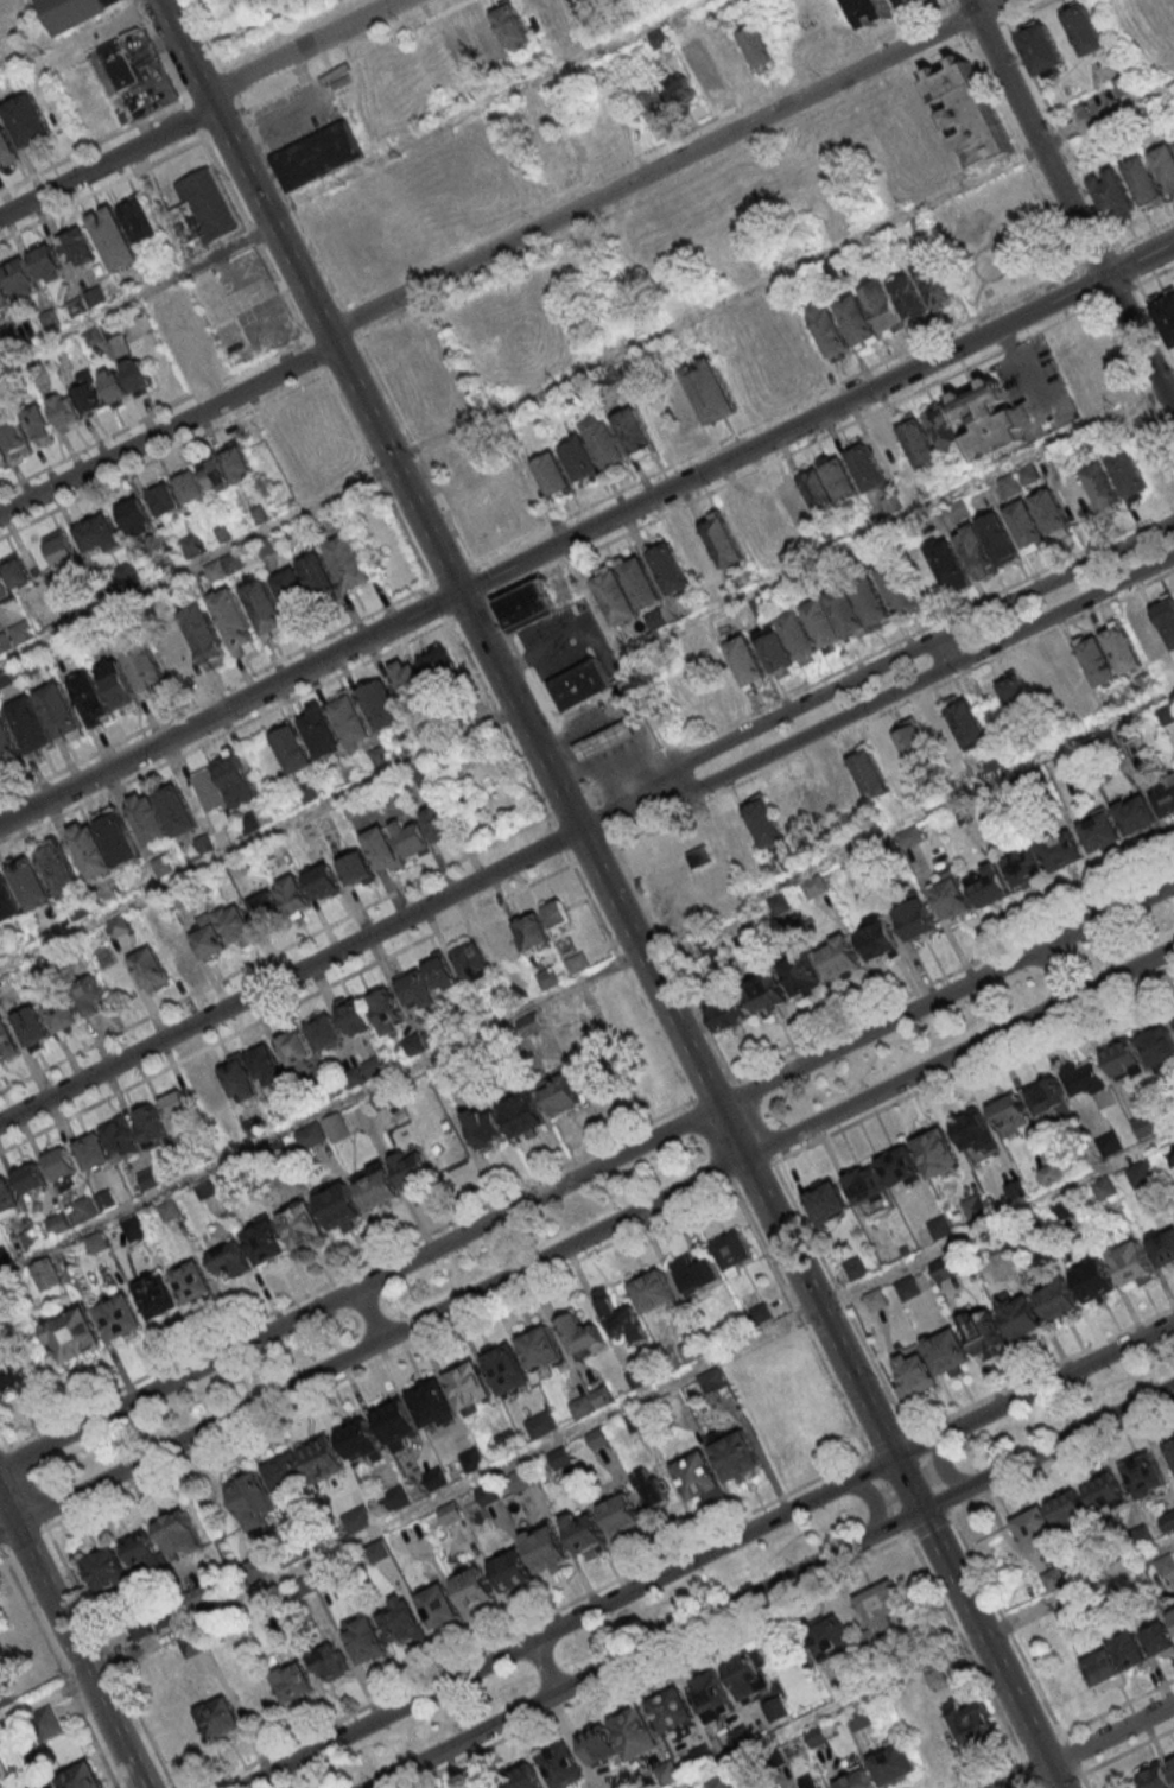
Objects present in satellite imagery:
building: (928, 0)
road: (954, 0)
building: (591, 2)
building: (910, 4)
road: (946, 6)
road: (989, 6)
road: (997, 6)
crop: (230, 12)
building: (871, 12)
building: (74, 13)
road: (1023, 13)
road: (217, 15)
road: (954, 23)
road: (984, 31)
building: (500, 32)
building: (1085, 32)
road: (969, 40)
road: (45, 44)
building: (757, 46)
road: (300, 47)
building: (461, 49)
building: (112, 51)
building: (1041, 51)
road: (160, 53)
building: (700, 65)
road: (1029, 71)
building: (122, 72)
building: (1125, 87)
building: (681, 90)
road: (989, 93)
building: (658, 107)
road: (484, 108)
building: (972, 114)
road: (233, 115)
road: (192, 116)
building: (1138, 121)
building: (28, 122)
building: (1112, 134)
road: (1062, 137)
road: (91, 147)
building: (7, 151)
road: (643, 151)
building: (553, 152)
building: (318, 157)
road: (1021, 158)
road: (106, 161)
building: (1166, 166)
road: (648, 171)
building: (1144, 183)
road: (1092, 196)
building: (1115, 198)
road: (1070, 202)
building: (203, 207)
road: (293, 211)
building: (139, 218)
road: (1053, 220)
road: (252, 235)
building: (114, 237)
road: (1142, 237)
building: (77, 246)
road: (1097, 259)
building: (47, 262)
road: (1129, 267)
road: (1156, 275)
building: (21, 278)
building: (937, 285)
road: (1086, 286)
building: (4, 293)
road: (1117, 294)
road: (137, 298)
building: (896, 302)
road: (317, 311)
building: (1167, 318)
road: (348, 319)
road: (299, 321)
building: (858, 322)
building: (183, 329)
building: (830, 332)
road: (315, 354)
road: (585, 370)
building: (138, 374)
road: (1135, 380)
building: (115, 385)
building: (700, 395)
building: (90, 397)
building: (64, 411)
road: (153, 416)
road: (775, 417)
building: (976, 421)
building: (39, 424)
road: (167, 431)
building: (636, 436)
building: (15, 438)
building: (918, 439)
building: (605, 440)
road: (413, 449)
road: (793, 452)
building: (1, 457)
road: (163, 457)
building: (237, 462)
building: (582, 462)
building: (865, 464)
building: (552, 473)
building: (216, 474)
road: (376, 476)
building: (1130, 478)
building: (830, 483)
building: (190, 484)
building: (1104, 490)
building: (164, 497)
building: (1078, 501)
building: (793, 502)
building: (959, 509)
building: (135, 515)
building: (1051, 515)
road: (900, 522)
building: (1027, 528)
road: (585, 530)
building: (100, 533)
building: (1000, 541)
building: (193, 544)
building: (724, 545)
building: (59, 549)
building: (976, 552)
building: (165, 560)
building: (349, 565)
building: (222, 566)
building: (950, 568)
building: (671, 571)
building: (128, 572)
road: (452, 575)
building: (13, 576)
building: (321, 581)
road: (480, 581)
building: (642, 585)
building: (900, 589)
road: (439, 600)
building: (617, 601)
building: (872, 602)
building: (265, 607)
building: (526, 607)
road: (470, 610)
building: (849, 614)
building: (233, 619)
building: (1167, 620)
building: (658, 621)
building: (825, 626)
building: (205, 635)
building: (800, 639)
building: (1149, 640)
road: (881, 652)
road: (945, 652)
building: (1124, 653)
building: (176, 655)
road: (623, 655)
building: (438, 662)
building: (748, 664)
building: (1099, 665)
building: (146, 667)
road: (871, 668)
building: (407, 676)
building: (120, 687)
road: (216, 693)
road: (540, 698)
building: (91, 700)
road: (878, 700)
building: (1021, 703)
building: (381, 705)
road: (893, 708)
building: (62, 712)
building: (1166, 712)
road: (500, 719)
building: (966, 721)
building: (351, 725)
building: (32, 728)
road: (224, 734)
building: (322, 735)
building: (7, 744)
building: (607, 744)
building: (292, 748)
building: (918, 752)
building: (869, 772)
building: (239, 784)
building: (208, 790)
building: (1165, 795)
building: (818, 797)
road: (569, 806)
building: (1135, 812)
building: (179, 813)
road: (599, 818)
building: (438, 823)
building: (764, 823)
building: (1099, 831)
road: (259, 837)
building: (909, 837)
building: (411, 838)
road: (559, 838)
building: (103, 842)
building: (382, 849)
building: (1062, 850)
road: (592, 855)
building: (161, 866)
building: (1024, 867)
building: (356, 869)
building: (673, 873)
building: (62, 874)
building: (323, 881)
building: (988, 885)
building: (32, 886)
building: (814, 887)
road: (609, 893)
building: (293, 894)
building: (951, 896)
building: (7, 903)
building: (780, 903)
building: (266, 907)
building: (557, 913)
building: (915, 918)
building: (236, 926)
building: (532, 931)
building: (207, 936)
building: (878, 939)
building: (503, 944)
building: (179, 953)
road: (274, 955)
building: (839, 956)
building: (472, 962)
building: (577, 962)
building: (150, 969)
building: (439, 972)
road: (1056, 972)
building: (801, 975)
road: (288, 976)
building: (547, 977)
road: (584, 977)
building: (415, 988)
building: (766, 990)
building: (90, 998)
road: (286, 1009)
building: (387, 1010)
building: (729, 1013)
building: (64, 1015)
building: (354, 1015)
building: (531, 1023)
building: (32, 1027)
building: (324, 1032)
road: (825, 1036)
building: (7, 1044)
building: (1157, 1044)
building: (412, 1045)
building: (293, 1047)
building: (1123, 1058)
road: (973, 1065)
building: (265, 1066)
building: (372, 1066)
building: (1086, 1078)
building: (239, 1079)
building: (205, 1092)
road: (713, 1092)
building: (558, 1095)
building: (1048, 1098)
building: (174, 1103)
building: (522, 1114)
building: (1011, 1114)
road: (754, 1122)
building: (150, 1126)
building: (1143, 1126)
building: (484, 1128)
building: (976, 1131)
building: (120, 1136)
road: (712, 1142)
building: (1109, 1142)
building: (935, 1148)
building: (91, 1150)
building: (1169, 1154)
building: (59, 1164)
building: (900, 1166)
building: (411, 1167)
road: (585, 1172)
road: (753, 1173)
building: (1048, 1173)
building: (1141, 1174)
building: (28, 1179)
building: (865, 1185)
building: (376, 1186)
building: (1104, 1187)
building: (7, 1199)
building: (827, 1203)
building: (975, 1205)
building: (339, 1206)
building: (1066, 1207)
road: (476, 1211)
building: (302, 1225)
road: (585, 1238)
building: (265, 1241)
building: (1163, 1248)
building: (732, 1249)
building: (229, 1260)
building: (1131, 1262)
building: (945, 1267)
building: (694, 1273)
building: (1094, 1280)
building: (190, 1281)
building: (652, 1291)
building: (157, 1295)
road: (839, 1298)
building: (1058, 1299)
road: (373, 1312)
building: (615, 1313)
building: (1018, 1314)
building: (119, 1317)
road: (799, 1317)
building: (578, 1332)
building: (985, 1333)
building: (71, 1334)
building: (541, 1348)
building: (947, 1351)
road: (386, 1357)
building: (504, 1367)
road: (1041, 1368)
building: (12, 1371)
building: (914, 1374)
building: (469, 1384)
building: (711, 1386)
building: (430, 1402)
building: (395, 1421)
road: (585, 1425)
building: (540, 1426)
road: (2, 1440)
building: (357, 1440)
building: (507, 1440)
building: (597, 1440)
building: (1169, 1446)
road: (2, 1448)
building: (736, 1454)
building: (322, 1458)
building: (471, 1460)
road: (943, 1465)
building: (1144, 1471)
building: (287, 1476)
building: (697, 1476)
building: (436, 1478)
building: (520, 1479)
building: (651, 1489)
building: (1106, 1490)
building: (250, 1494)
building: (487, 1496)
building: (395, 1498)
road: (874, 1498)
building: (1068, 1509)
building: (450, 1514)
building: (621, 1515)
building: (1168, 1521)
building: (1035, 1528)
building: (178, 1534)
building: (586, 1535)
road: (905, 1535)
road: (24, 1540)
building: (546, 1548)
road: (4, 1551)
building: (142, 1552)
road: (705, 1553)
road: (978, 1565)
building: (104, 1571)
building: (512, 1572)
road: (769, 1585)
road: (1078, 1587)
building: (474, 1590)
building: (438, 1606)
building: (882, 1606)
building: (1173, 1611)
road: (532, 1619)
building: (401, 1623)
road: (69, 1635)
building: (830, 1638)
building: (1160, 1640)
building: (364, 1641)
building: (1129, 1650)
road: (652, 1661)
building: (330, 1663)
road: (546, 1666)
building: (1102, 1667)
building: (750, 1675)
building: (937, 1676)
road: (982, 1678)
building: (292, 1684)
building: (710, 1697)
building: (671, 1708)
building: (775, 1710)
road: (830, 1711)
building: (220, 1718)
building: (861, 1718)
building: (971, 1720)
building: (817, 1736)
building: (620, 1737)
road: (1089, 1744)
road: (1118, 1752)
building: (703, 1755)
building: (1172, 1762)
building: (893, 1763)
building: (561, 1767)
building: (667, 1773)
building: (81, 1777)
building: (1157, 1777)
building: (522, 1779)
building: (857, 1780)
building: (811, 1782)
building: (718, 1783)
building: (493, 1784)
building: (618, 1787)

